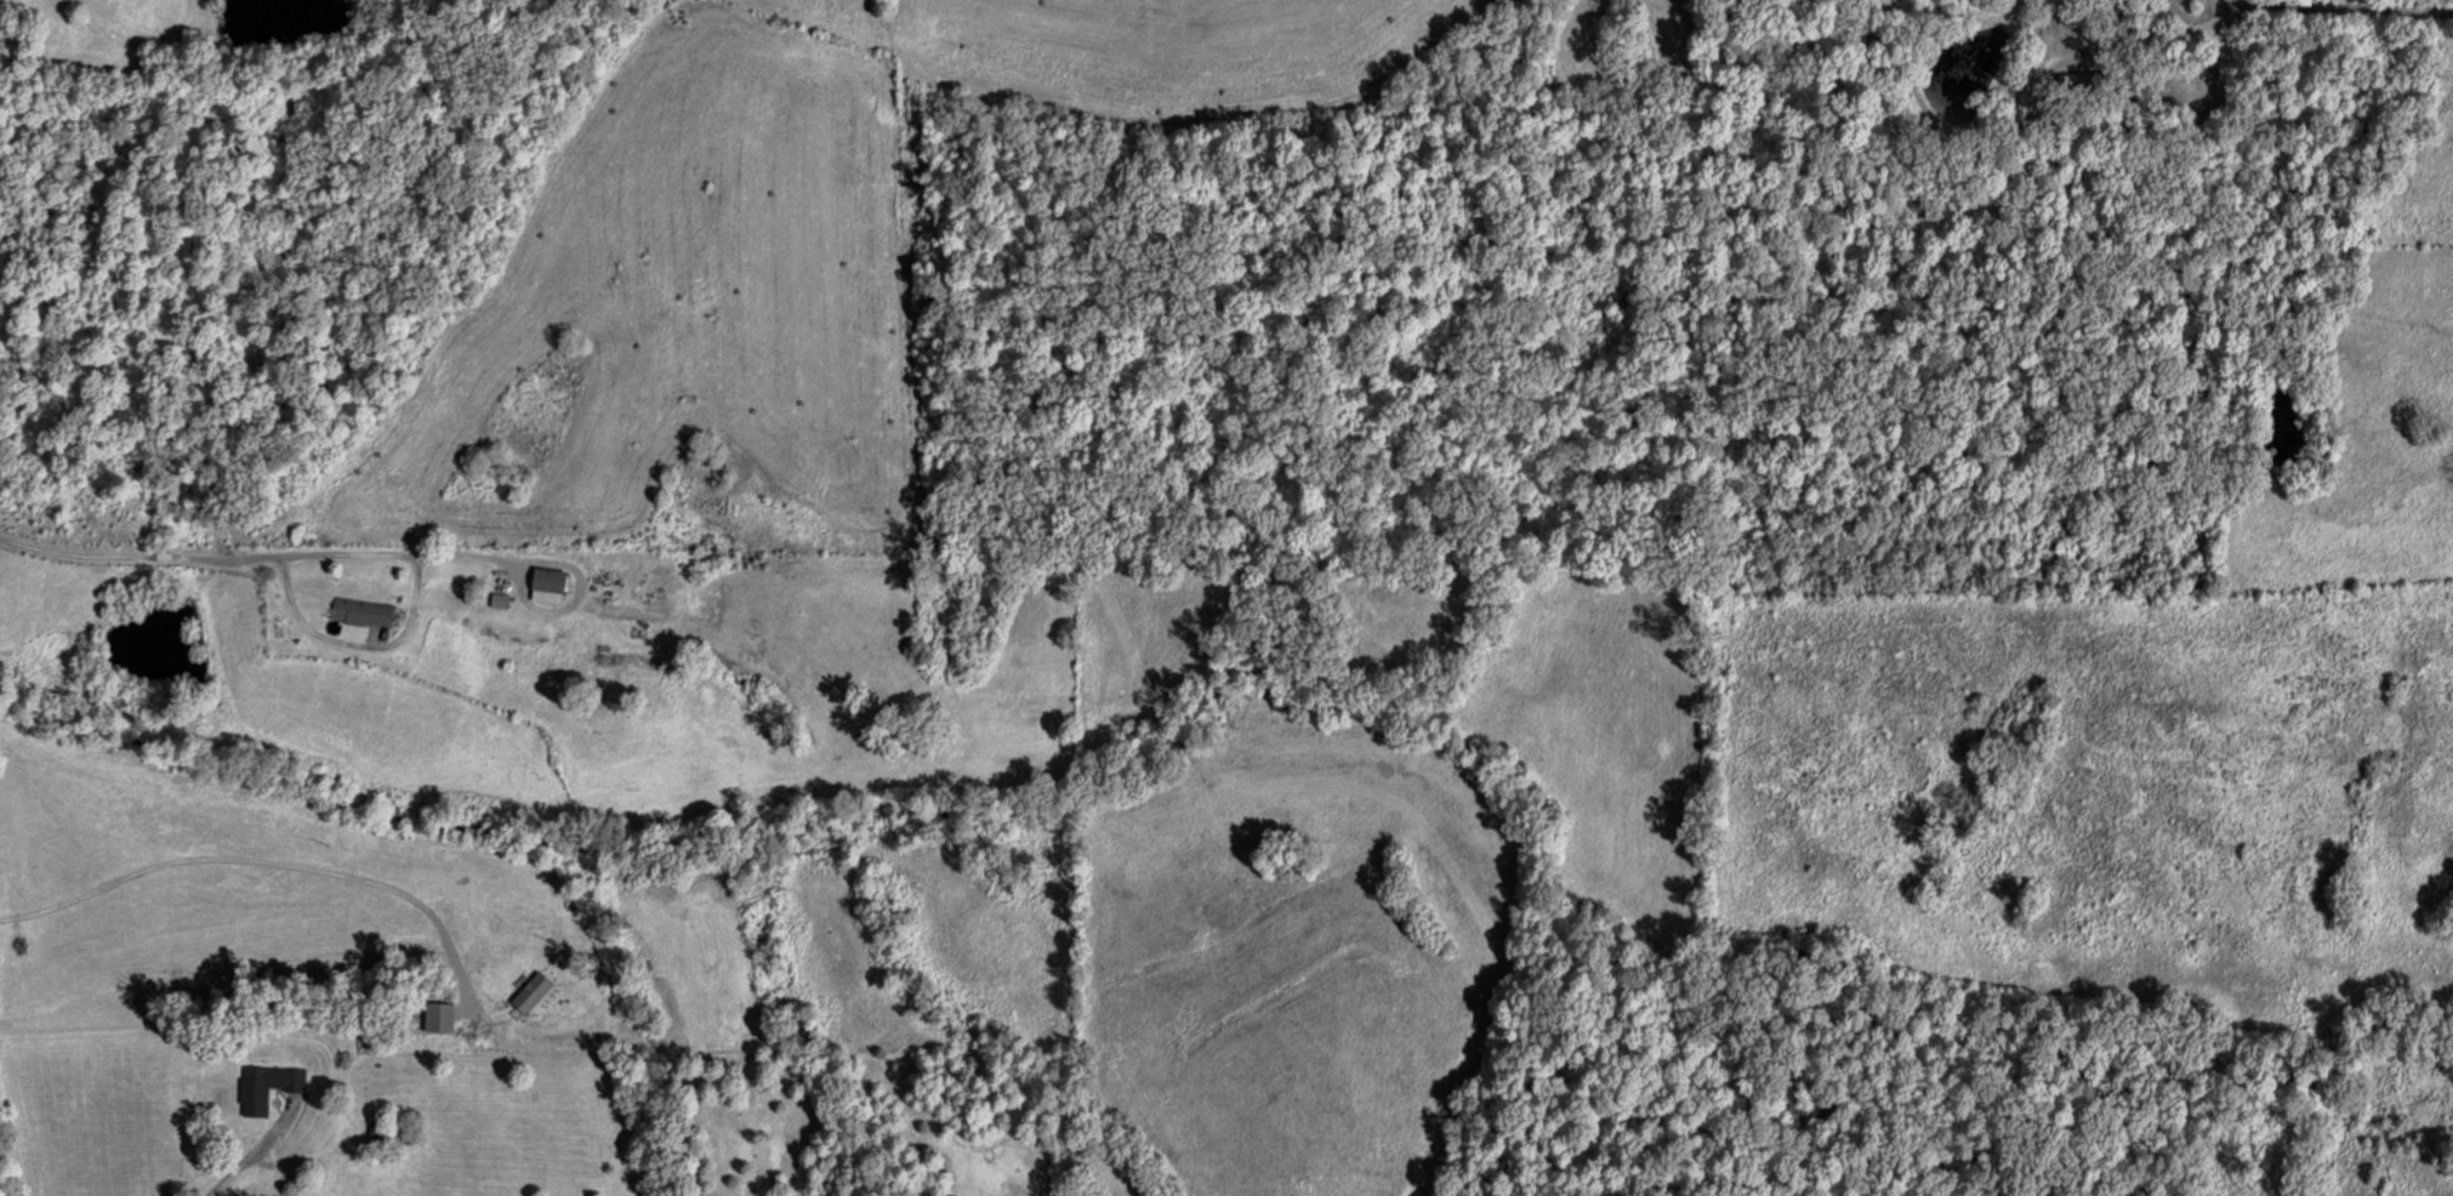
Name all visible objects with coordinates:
building: (2298, 1)
road: (2324, 56)
building: (2087, 86)
road: (205, 582)
building: (545, 583)
building: (359, 611)
building: (266, 1087)

